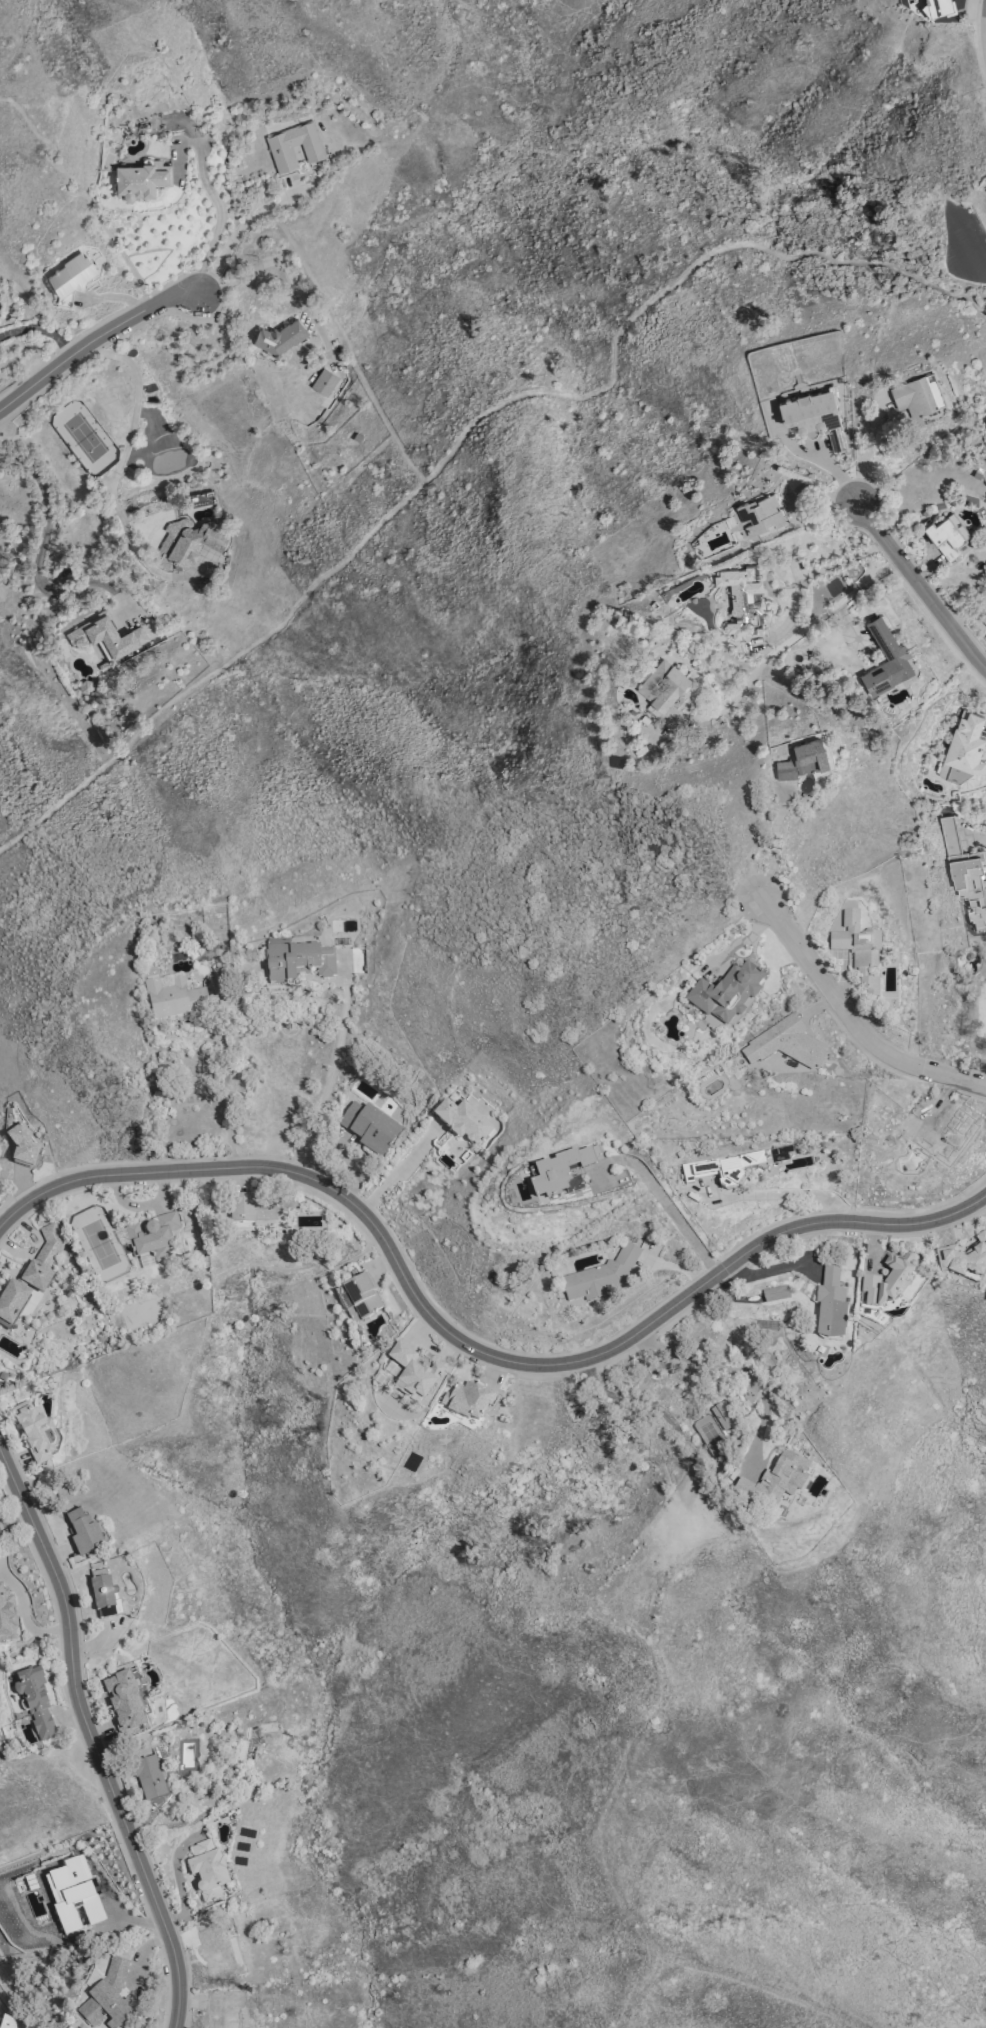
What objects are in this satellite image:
building: (939, 6)
building: (295, 146)
building: (140, 179)
road: (216, 198)
road: (238, 234)
road: (284, 265)
building: (70, 274)
road: (42, 326)
building: (281, 337)
road: (93, 341)
building: (322, 385)
building: (917, 394)
building: (813, 415)
road: (126, 448)
road: (865, 450)
road: (809, 485)
building: (760, 515)
building: (947, 535)
road: (43, 540)
building: (187, 542)
road: (802, 578)
road: (920, 588)
building: (742, 599)
building: (984, 618)
building: (107, 634)
road: (792, 638)
building: (896, 656)
building: (662, 684)
building: (963, 749)
building: (803, 759)
road: (976, 837)
road: (773, 841)
building: (965, 872)
building: (858, 949)
building: (296, 960)
building: (725, 996)
building: (174, 997)
building: (983, 1005)
road: (852, 1021)
building: (784, 1043)
road: (333, 1075)
road: (226, 1084)
building: (463, 1120)
building: (370, 1127)
building: (944, 1135)
building: (22, 1146)
building: (729, 1166)
building: (562, 1171)
road: (397, 1173)
road: (772, 1193)
road: (668, 1207)
building: (253, 1209)
building: (156, 1236)
building: (964, 1257)
building: (600, 1275)
building: (30, 1276)
building: (885, 1282)
building: (775, 1293)
building: (362, 1295)
building: (830, 1305)
road: (471, 1344)
road: (700, 1363)
building: (413, 1373)
building: (467, 1400)
road: (659, 1409)
building: (723, 1414)
building: (33, 1431)
building: (774, 1480)
building: (679, 1526)
building: (83, 1532)
building: (0, 1535)
building: (104, 1597)
building: (6, 1616)
building: (124, 1702)
building: (36, 1704)
road: (93, 1737)
building: (246, 1753)
building: (149, 1777)
building: (207, 1869)
building: (73, 1894)
building: (213, 1948)
building: (107, 1998)
building: (225, 2008)
building: (8, 2022)

